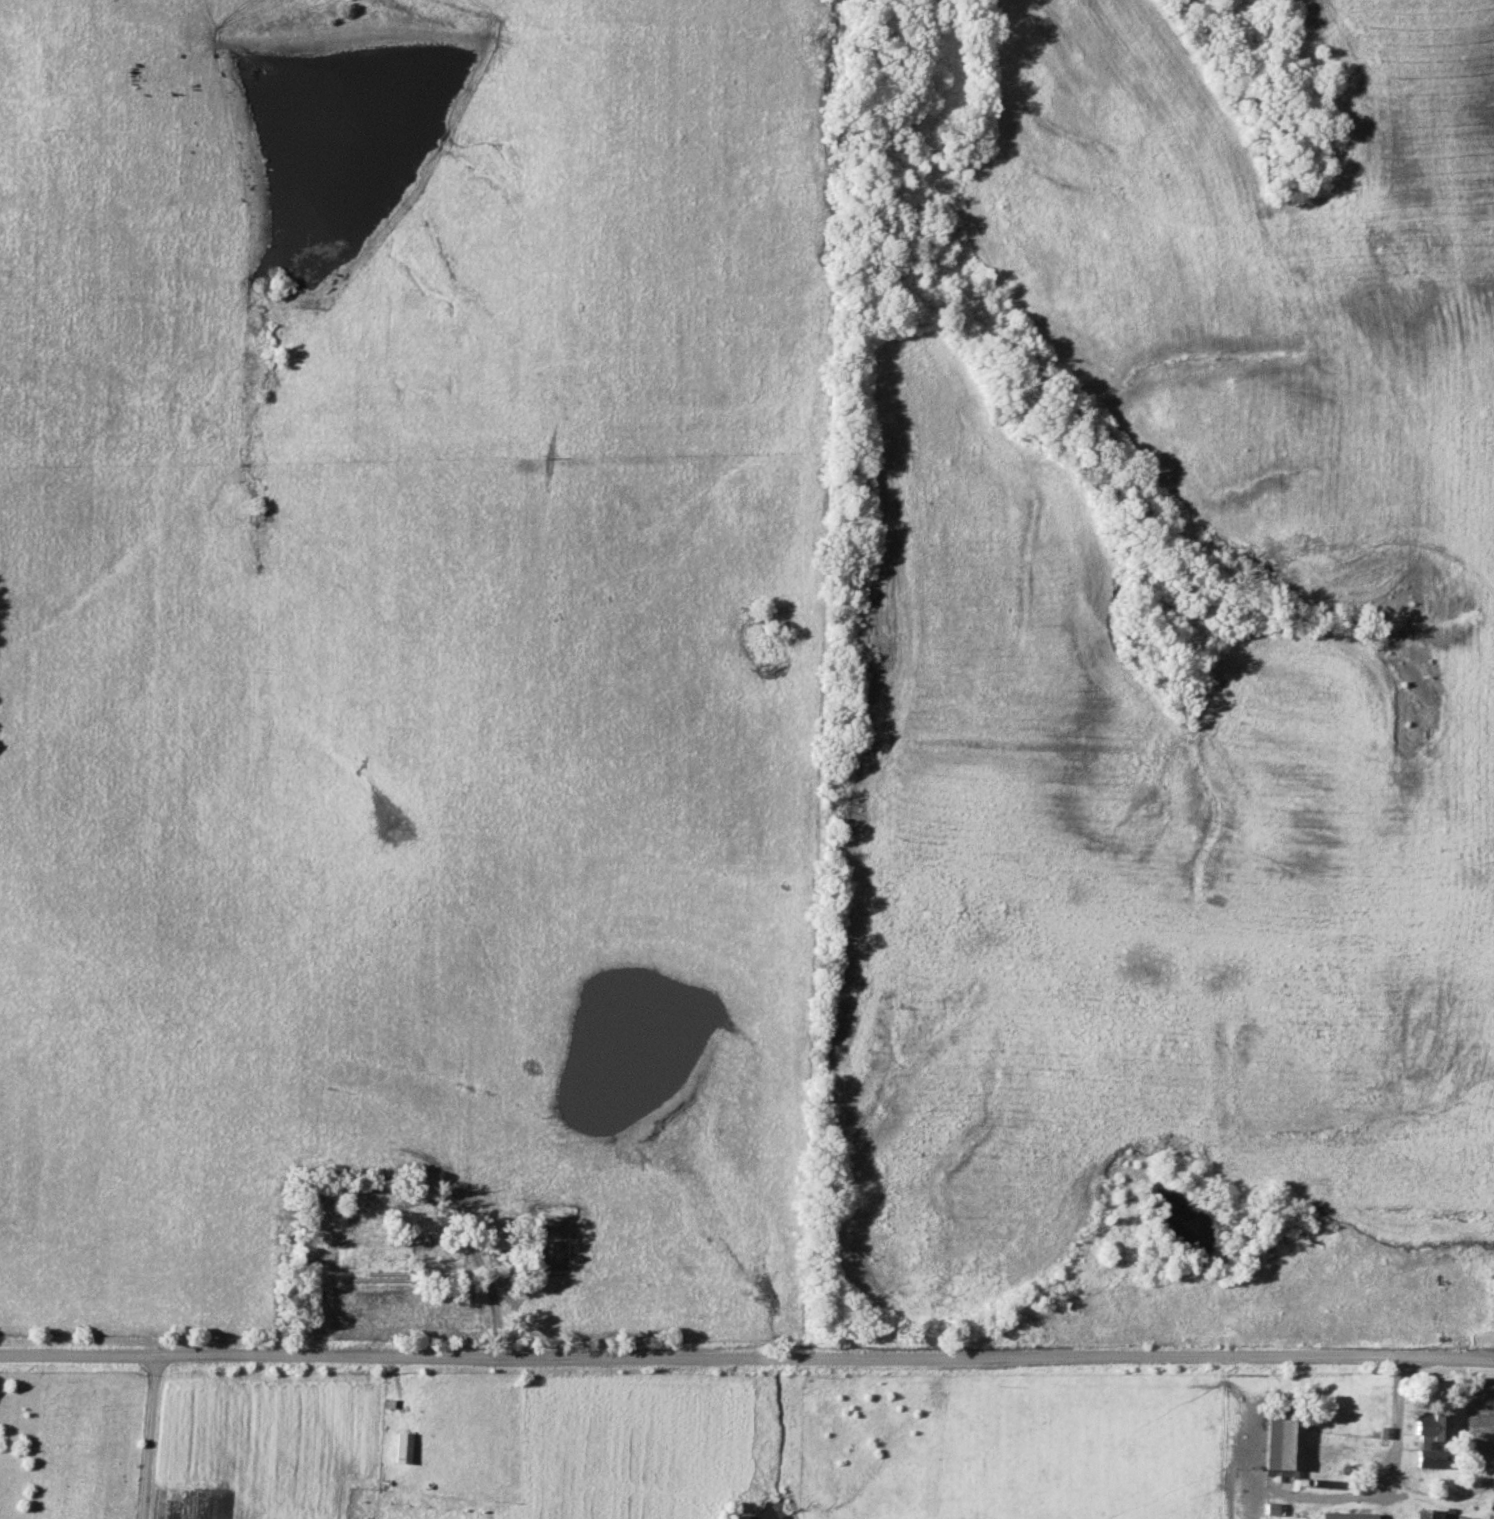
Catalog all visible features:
building: (1488, 1305)
road: (746, 1356)
building: (1276, 1444)
building: (1340, 1515)
building: (1419, 1515)

